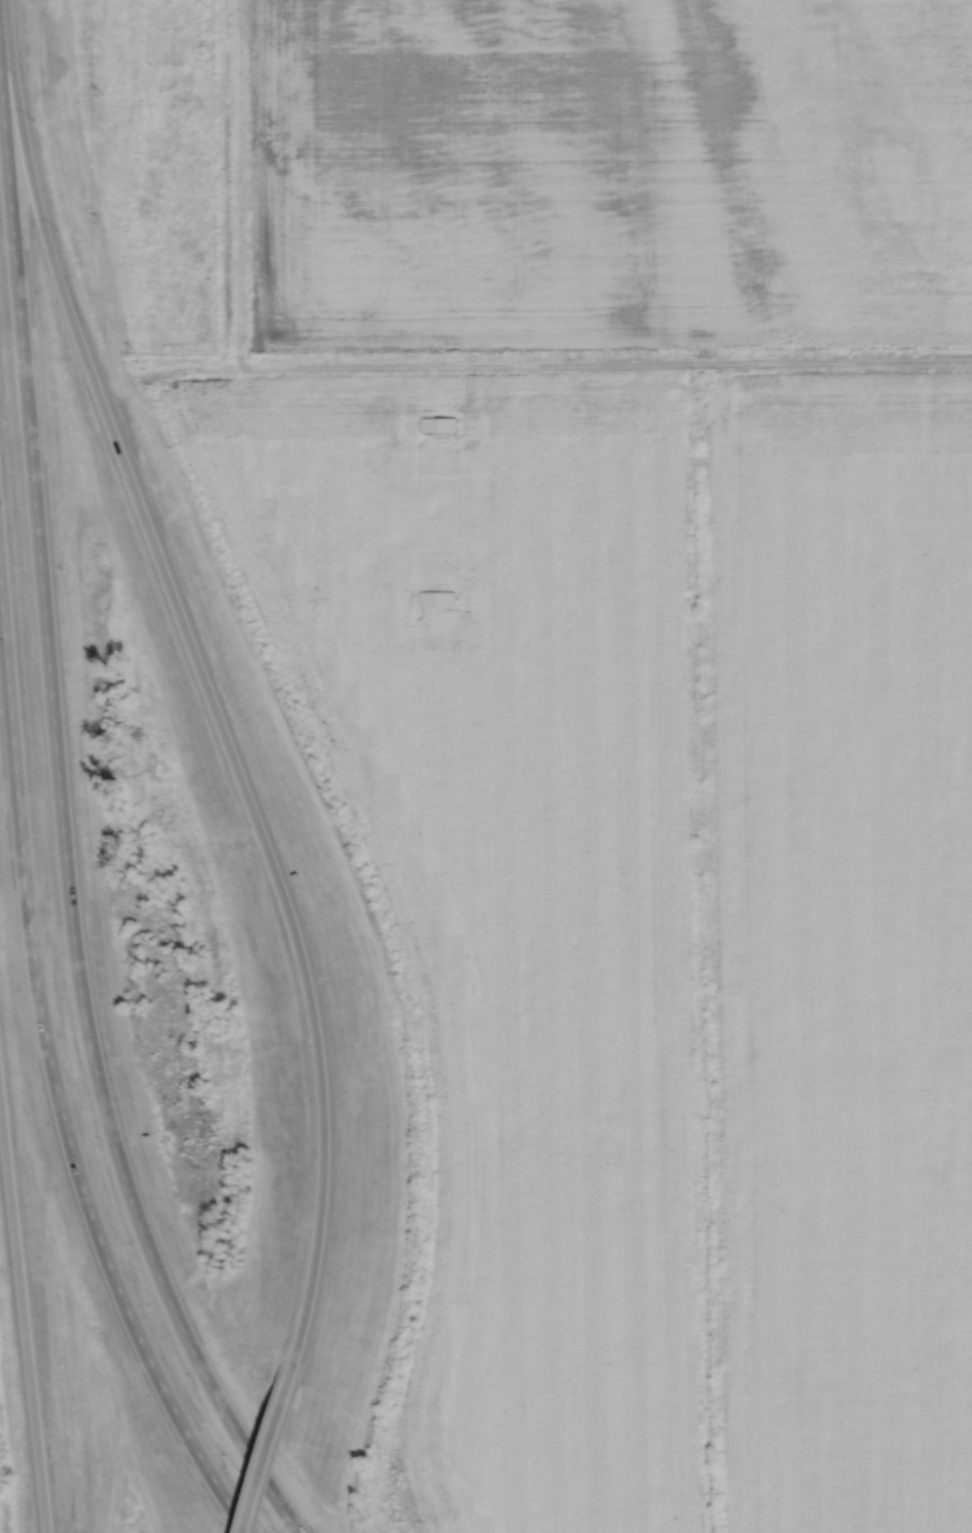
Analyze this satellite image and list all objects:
crop: (609, 175)
road: (590, 364)
building: (439, 425)
building: (438, 599)
road: (201, 675)
road: (63, 830)
crop: (653, 896)
road: (55, 1083)
road: (23, 1317)
road: (267, 1446)

